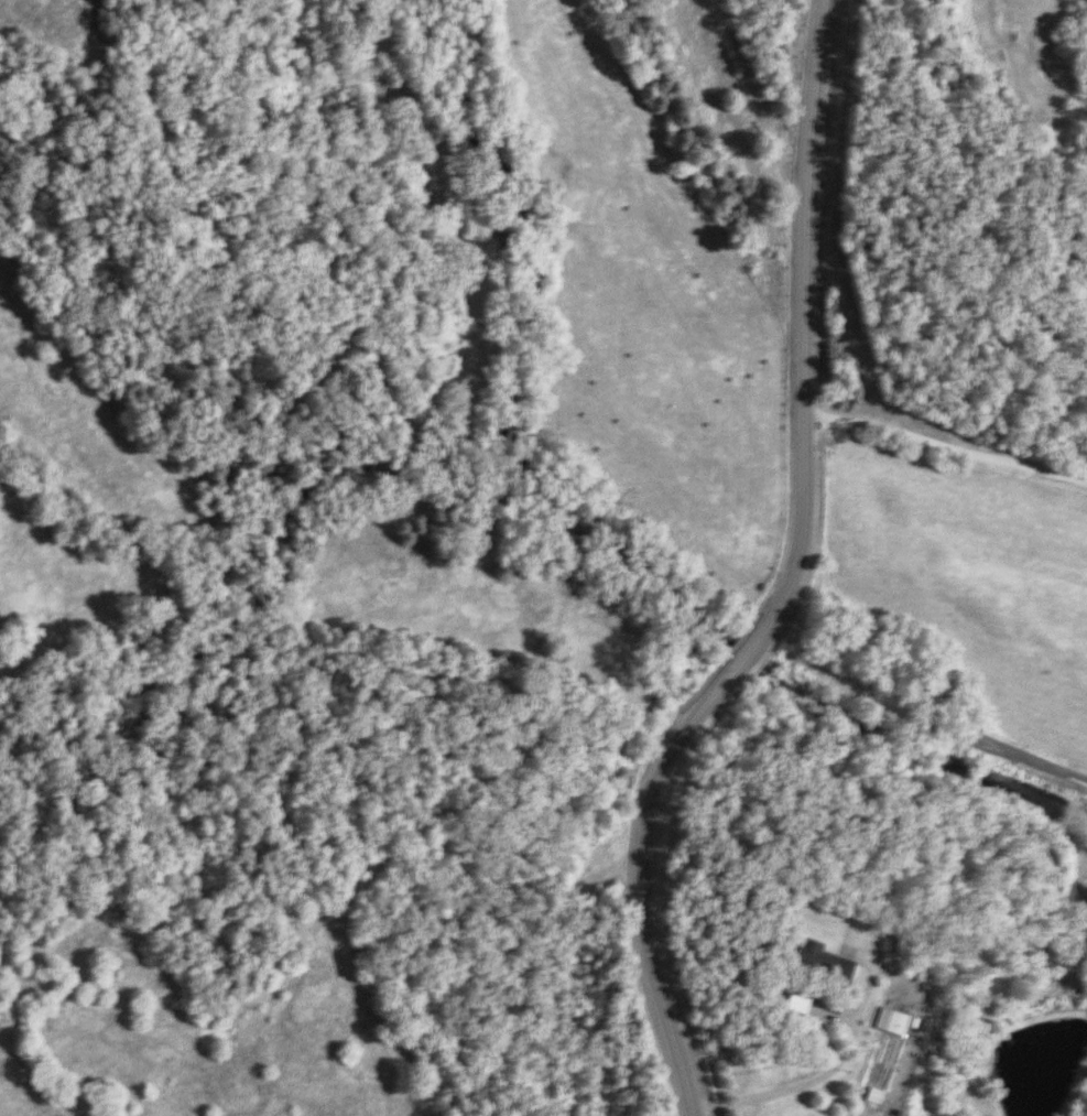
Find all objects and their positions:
road: (952, 451)
road: (774, 578)
building: (822, 963)
building: (892, 1022)
road: (813, 1077)
building: (876, 1096)

